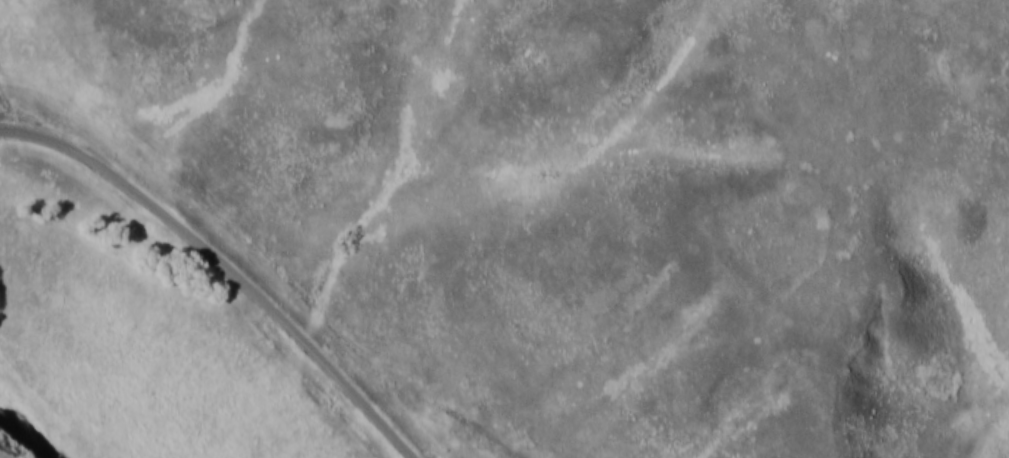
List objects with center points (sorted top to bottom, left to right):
road: (8, 109)
road: (225, 266)
river: (26, 435)

